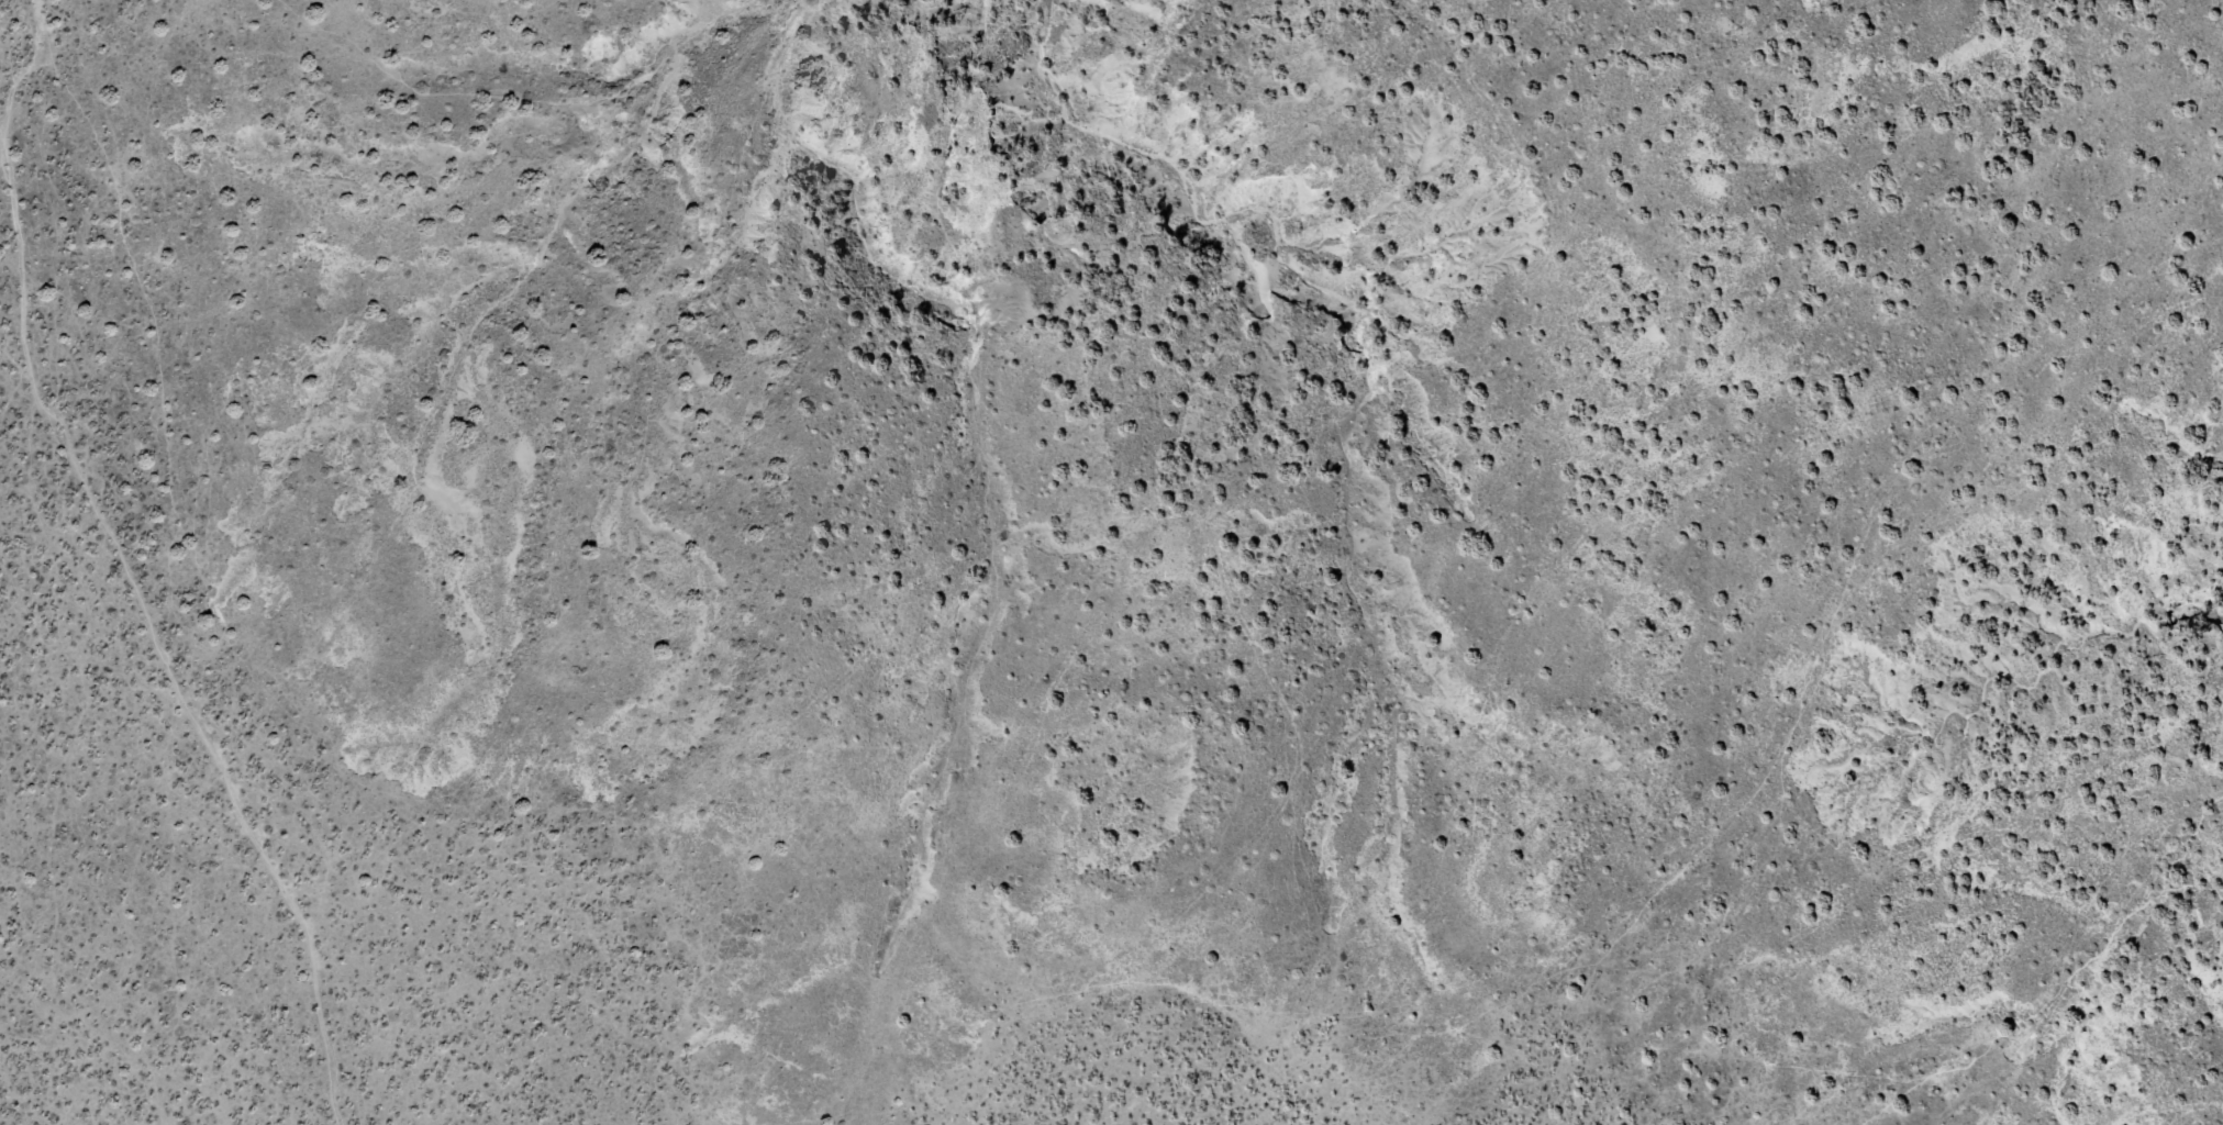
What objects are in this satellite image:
road: (1, 35)
road: (196, 717)

